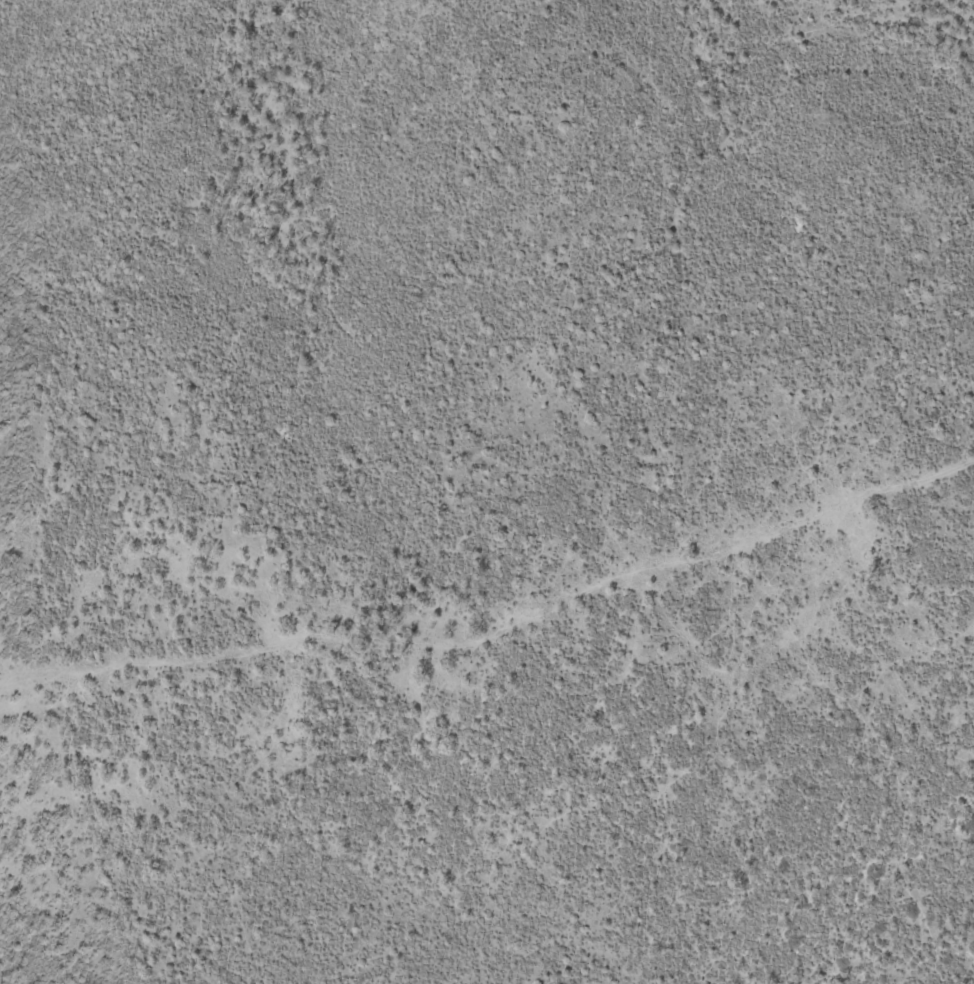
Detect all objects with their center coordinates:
road: (502, 637)

